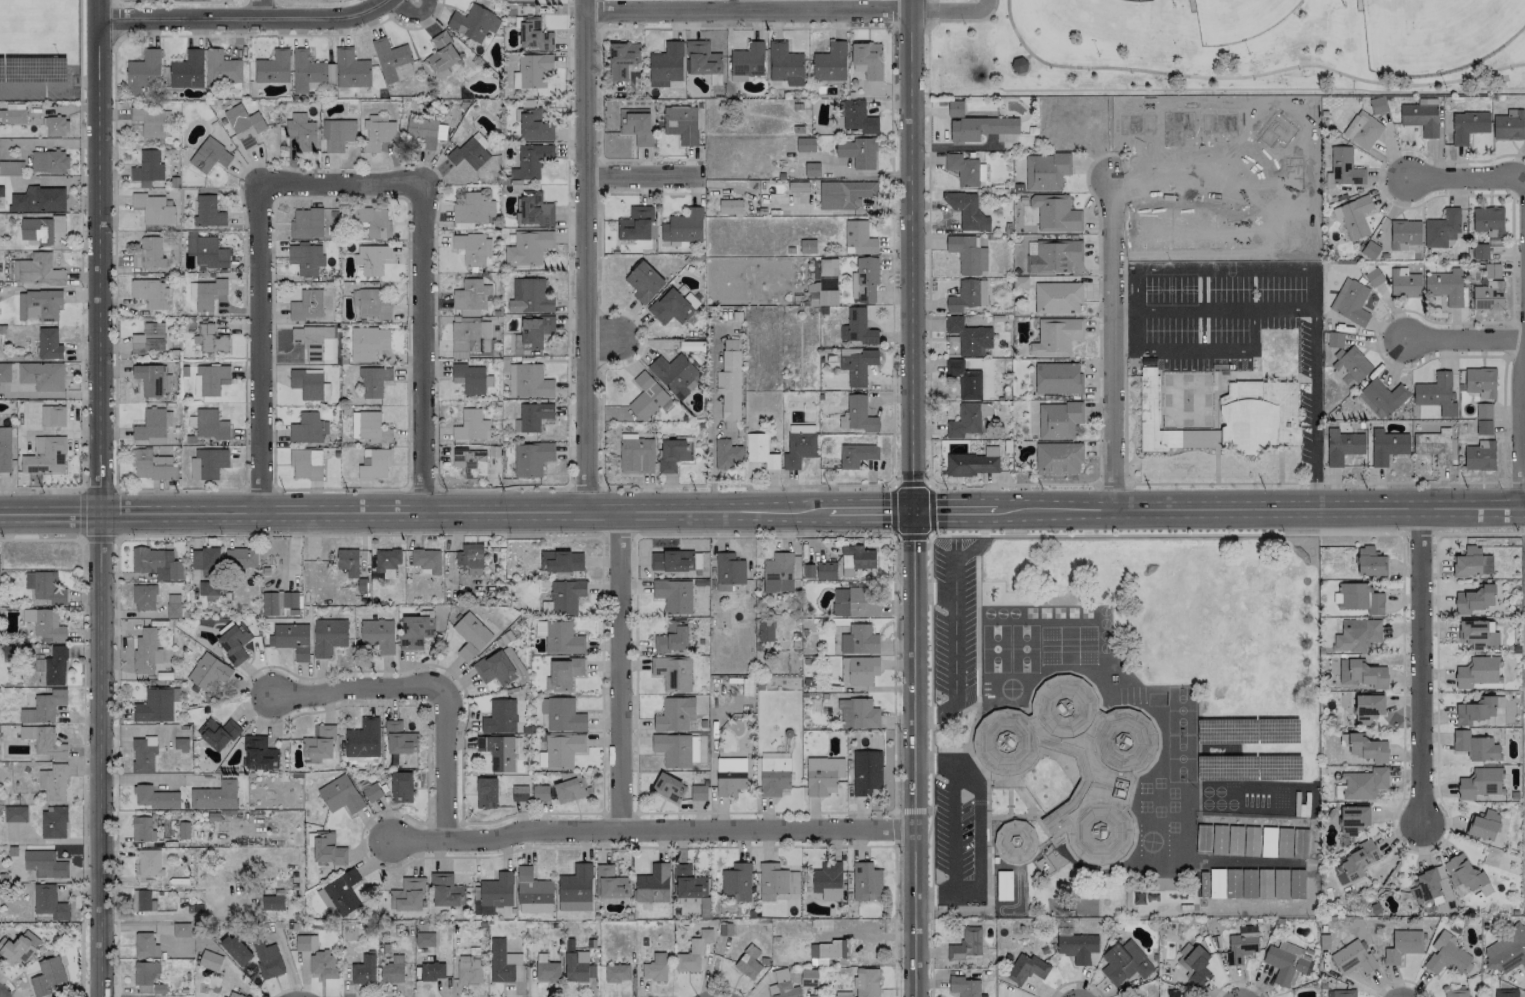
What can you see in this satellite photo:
building: (123, 0)
road: (745, 5)
road: (260, 9)
road: (749, 10)
road: (950, 11)
road: (239, 19)
park: (1239, 19)
building: (474, 23)
park: (38, 32)
building: (533, 34)
park: (1437, 34)
park: (1221, 48)
building: (441, 54)
building: (702, 58)
building: (868, 59)
building: (392, 60)
building: (621, 60)
building: (747, 61)
building: (830, 63)
building: (784, 64)
building: (666, 65)
building: (1021, 65)
building: (273, 67)
building: (221, 68)
building: (350, 69)
building: (533, 69)
building: (187, 70)
building: (305, 70)
building: (143, 72)
road: (48, 84)
building: (1377, 105)
building: (955, 109)
building: (1524, 113)
building: (12, 114)
building: (1421, 116)
building: (856, 117)
building: (152, 122)
building: (1448, 123)
building: (681, 124)
building: (635, 125)
building: (1467, 125)
building: (1508, 125)
building: (55, 126)
building: (244, 126)
building: (534, 126)
building: (979, 128)
building: (1363, 130)
building: (301, 131)
building: (376, 132)
building: (425, 132)
building: (337, 134)
building: (805, 145)
building: (470, 151)
building: (857, 153)
building: (209, 156)
building: (48, 161)
building: (531, 161)
building: (1343, 167)
building: (11, 168)
building: (147, 168)
building: (811, 169)
building: (966, 170)
building: (1046, 171)
road: (643, 175)
road: (1464, 182)
road: (1171, 183)
road: (344, 185)
building: (845, 194)
building: (38, 200)
building: (730, 207)
building: (154, 209)
building: (472, 209)
building: (534, 211)
building: (967, 211)
building: (208, 212)
building: (1055, 213)
building: (1352, 215)
building: (373, 221)
building: (1488, 221)
building: (328, 222)
building: (306, 224)
building: (635, 224)
building: (683, 226)
building: (41, 229)
building: (1441, 229)
building: (1404, 234)
building: (858, 238)
building: (807, 246)
building: (528, 247)
building: (472, 248)
building: (1370, 249)
building: (205, 251)
building: (1480, 251)
building: (149, 254)
building: (967, 254)
road: (912, 255)
building: (1053, 256)
road: (586, 257)
building: (306, 258)
road: (98, 259)
building: (371, 259)
building: (35, 270)
road: (1127, 270)
road: (1248, 270)
building: (1492, 271)
building: (1373, 277)
building: (864, 281)
building: (643, 282)
building: (1404, 283)
building: (1446, 287)
building: (150, 293)
building: (208, 293)
building: (968, 295)
building: (532, 296)
building: (1488, 296)
building: (471, 297)
building: (1057, 297)
building: (1350, 302)
building: (371, 304)
building: (38, 305)
building: (306, 305)
building: (669, 307)
road: (1144, 311)
road: (1228, 312)
road: (1127, 313)
building: (463, 317)
building: (856, 328)
building: (533, 332)
building: (969, 337)
building: (1055, 337)
building: (149, 339)
building: (211, 339)
building: (1334, 339)
building: (471, 340)
building: (367, 343)
road: (1464, 343)
building: (48, 344)
road: (1111, 346)
road: (260, 347)
road: (426, 348)
road: (1217, 352)
road: (1126, 353)
building: (856, 364)
building: (1350, 365)
building: (4, 373)
building: (674, 375)
building: (41, 376)
road: (1314, 377)
building: (151, 379)
building: (210, 379)
building: (964, 379)
building: (1057, 379)
building: (373, 381)
building: (528, 382)
building: (1480, 382)
building: (307, 383)
building: (729, 385)
road: (49, 393)
building: (1436, 394)
building: (646, 397)
building: (1382, 397)
road: (1523, 404)
building: (1483, 411)
building: (858, 415)
building: (52, 416)
building: (534, 416)
building: (1226, 418)
road: (711, 419)
building: (969, 420)
building: (1058, 420)
building: (210, 425)
building: (470, 426)
building: (151, 427)
building: (368, 427)
building: (1483, 427)
building: (307, 428)
building: (799, 445)
building: (1342, 446)
building: (1387, 446)
building: (1434, 446)
building: (6, 450)
building: (760, 451)
building: (673, 454)
building: (727, 454)
building: (856, 455)
building: (45, 456)
building: (636, 456)
building: (1479, 456)
building: (531, 458)
building: (1058, 458)
building: (470, 462)
building: (208, 463)
building: (972, 463)
building: (305, 464)
building: (374, 464)
building: (152, 465)
road: (1315, 476)
road: (1513, 481)
road: (1484, 482)
road: (1188, 483)
road: (1266, 483)
road: (746, 484)
road: (1008, 484)
road: (1111, 484)
road: (585, 486)
road: (40, 488)
road: (97, 488)
road: (419, 488)
road: (502, 488)
road: (177, 489)
road: (258, 489)
road: (339, 489)
road: (1053, 510)
road: (291, 511)
road: (928, 511)
road: (80, 531)
building: (240, 558)
building: (470, 558)
building: (204, 559)
building: (855, 559)
building: (426, 560)
building: (561, 560)
building: (387, 561)
building: (670, 561)
building: (348, 562)
building: (1369, 562)
building: (1471, 563)
building: (156, 564)
building: (825, 570)
building: (728, 571)
building: (808, 571)
building: (778, 573)
building: (45, 588)
building: (208, 588)
road: (934, 593)
building: (673, 595)
building: (565, 596)
building: (144, 597)
building: (1358, 598)
building: (1474, 599)
building: (277, 602)
building: (853, 603)
building: (173, 606)
road: (957, 623)
building: (48, 626)
building: (415, 631)
building: (765, 631)
building: (1477, 634)
building: (378, 635)
building: (1357, 635)
building: (328, 636)
building: (470, 636)
building: (672, 637)
building: (562, 638)
building: (291, 639)
building: (859, 640)
building: (234, 643)
building: (146, 651)
building: (55, 666)
building: (499, 667)
road: (1422, 667)
building: (858, 670)
road: (618, 671)
building: (208, 672)
building: (672, 672)
building: (1478, 672)
building: (563, 673)
building: (1361, 674)
road: (343, 690)
building: (154, 706)
building: (44, 707)
building: (1366, 707)
building: (1475, 711)
building: (674, 714)
building: (857, 714)
building: (564, 716)
building: (500, 717)
building: (218, 734)
building: (362, 739)
building: (398, 739)
building: (43, 741)
building: (319, 744)
building: (1475, 746)
building: (1365, 747)
building: (562, 750)
building: (676, 750)
building: (500, 751)
building: (143, 754)
building: (259, 754)
road: (913, 754)
road: (446, 756)
road: (100, 757)
building: (866, 772)
building: (822, 775)
building: (730, 776)
building: (773, 776)
road: (144, 780)
building: (53, 783)
building: (1364, 783)
building: (1480, 783)
building: (401, 787)
building: (569, 787)
building: (668, 787)
building: (372, 792)
building: (486, 793)
building: (519, 793)
building: (540, 793)
building: (698, 793)
building: (340, 795)
building: (214, 796)
building: (155, 798)
building: (15, 814)
building: (1352, 820)
building: (54, 823)
building: (1483, 825)
road: (649, 828)
building: (142, 829)
road: (950, 833)
road: (983, 837)
building: (1203, 839)
building: (1219, 840)
building: (1026, 842)
building: (328, 849)
building: (149, 863)
building: (1354, 863)
building: (44, 864)
building: (1467, 876)
building: (737, 881)
building: (776, 881)
building: (827, 881)
building: (866, 882)
building: (610, 883)
building: (688, 883)
building: (653, 884)
building: (1425, 886)
building: (575, 889)
building: (445, 891)
building: (343, 892)
building: (533, 892)
building: (494, 894)
building: (407, 895)
building: (324, 900)
building: (143, 901)
building: (49, 903)
building: (272, 903)
building: (181, 930)
road: (862, 935)
building: (425, 939)
building: (305, 943)
building: (965, 944)
building: (145, 945)
building: (1402, 945)
building: (1077, 947)
building: (1239, 948)
building: (235, 949)
building: (16, 950)
building: (829, 950)
building: (1505, 951)
building: (1447, 955)
building: (690, 957)
building: (1352, 958)
building: (209, 960)
building: (267, 960)
building: (502, 961)
building: (748, 962)
building: (1124, 963)
building: (1285, 963)
building: (1193, 964)
building: (322, 965)
building: (577, 966)
building: (654, 968)
building: (363, 969)
building: (468, 969)
building: (546, 969)
building: (1026, 969)
building: (392, 970)
building: (432, 971)
building: (616, 973)
building: (46, 976)
building: (145, 976)
building: (866, 982)
road: (11, 984)
building: (783, 986)
building: (965, 987)
building: (1176, 993)
building: (1343, 993)
building: (1456, 993)
building: (1505, 993)
building: (232, 994)
building: (842, 994)

